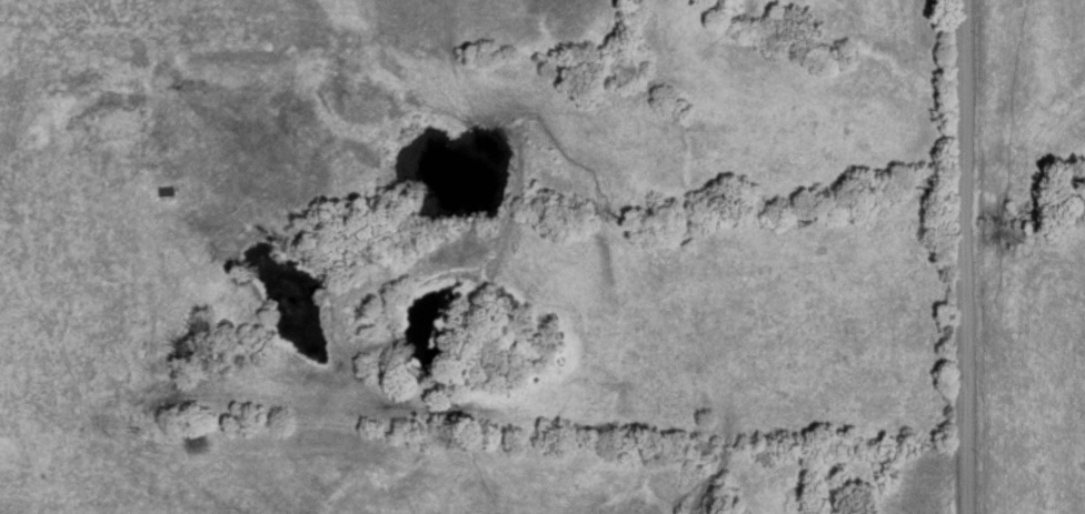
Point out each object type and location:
road: (964, 256)

